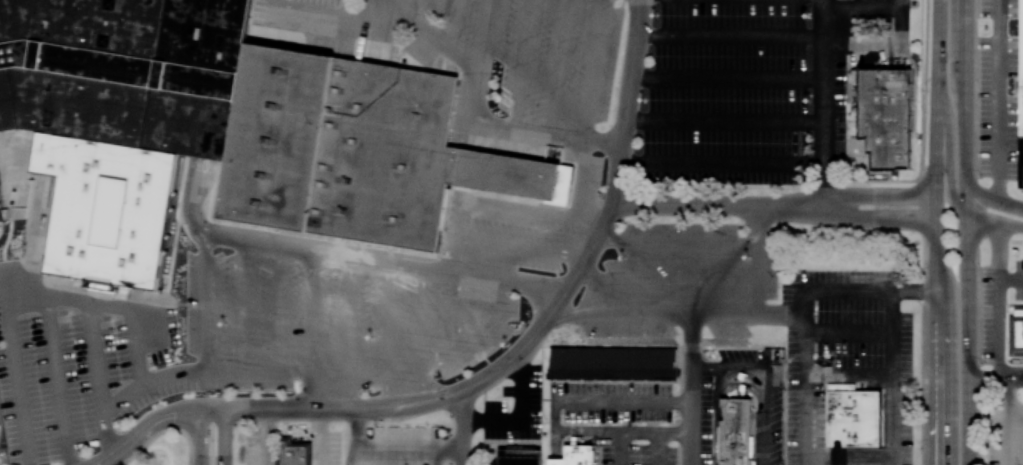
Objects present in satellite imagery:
road: (308, 11)
road: (378, 11)
road: (418, 11)
parking lot: (304, 19)
road: (363, 19)
road: (453, 24)
road: (901, 30)
road: (434, 35)
road: (488, 36)
road: (346, 37)
road: (392, 37)
road: (732, 37)
road: (374, 41)
parking lot: (535, 53)
road: (524, 64)
road: (560, 67)
road: (596, 69)
road: (729, 77)
parking lot: (756, 86)
parking lot: (998, 89)
building: (1021, 96)
road: (999, 102)
road: (825, 103)
building: (122, 114)
building: (882, 118)
road: (725, 120)
road: (526, 130)
road: (949, 146)
building: (359, 150)
road: (722, 164)
parking lot: (592, 177)
road: (583, 178)
road: (879, 197)
road: (993, 202)
road: (718, 204)
road: (518, 207)
building: (1, 214)
road: (879, 218)
road: (995, 219)
road: (936, 232)
road: (967, 232)
parking lot: (509, 234)
road: (677, 240)
road: (525, 245)
road: (453, 252)
road: (361, 258)
road: (666, 279)
road: (1011, 279)
parking lot: (678, 284)
road: (543, 286)
road: (537, 300)
road: (205, 303)
road: (72, 305)
road: (242, 305)
road: (280, 308)
road: (313, 311)
road: (460, 312)
road: (805, 312)
road: (424, 315)
road: (710, 316)
road: (781, 317)
parking lot: (337, 326)
road: (847, 331)
road: (349, 332)
road: (534, 332)
road: (385, 334)
building: (1015, 334)
road: (480, 336)
road: (997, 345)
parking lot: (82, 352)
road: (95, 358)
building: (614, 363)
parking lot: (847, 369)
road: (247, 370)
road: (301, 370)
road: (739, 372)
building: (367, 374)
road: (848, 375)
road: (995, 376)
road: (173, 377)
road: (766, 378)
road: (891, 378)
road: (422, 381)
road: (57, 384)
road: (744, 386)
road: (314, 390)
road: (689, 390)
road: (301, 397)
road: (1015, 405)
parking lot: (512, 408)
road: (1015, 410)
road: (520, 413)
parking lot: (658, 414)
road: (552, 416)
building: (853, 417)
road: (1015, 420)
road: (463, 426)
road: (1015, 428)
road: (145, 429)
building: (736, 432)
road: (199, 436)
road: (224, 436)
road: (261, 436)
road: (318, 436)
road: (1015, 436)
road: (1015, 443)
parking lot: (394, 447)
road: (389, 448)
road: (617, 448)
road: (655, 448)
building: (292, 454)
road: (348, 455)
building: (519, 455)
building: (575, 455)
road: (433, 456)
building: (839, 456)

